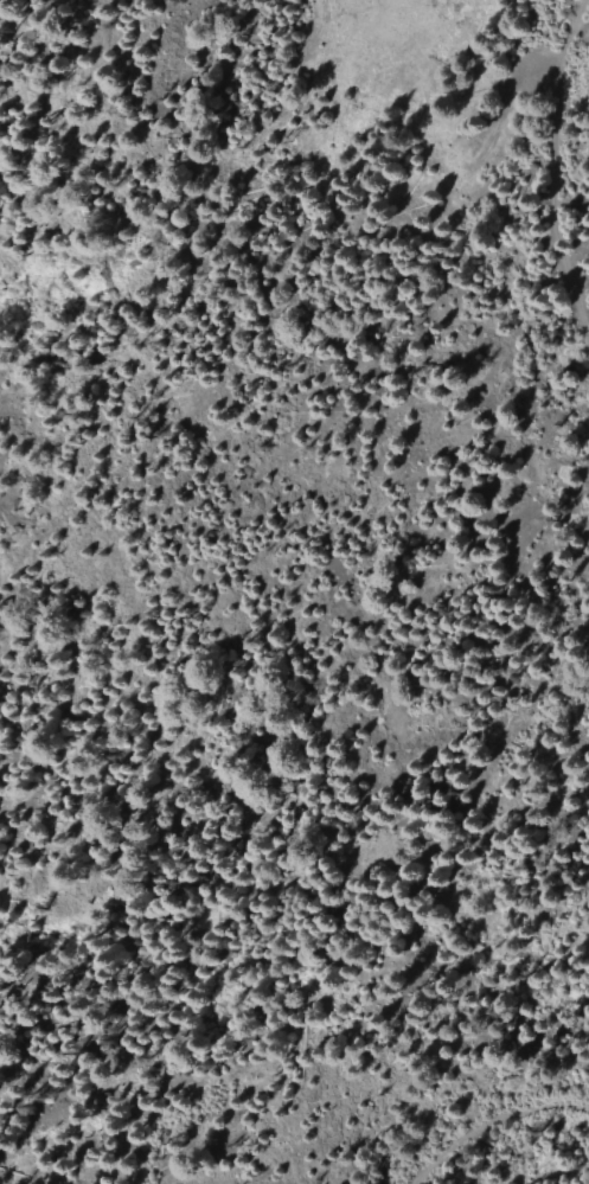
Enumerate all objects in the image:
road: (568, 161)
road: (482, 1115)

